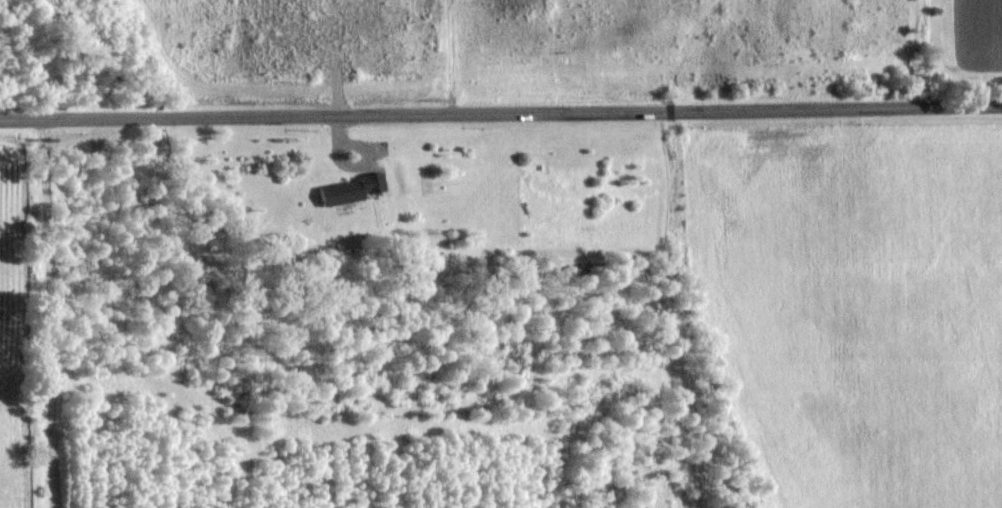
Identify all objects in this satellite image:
road: (501, 113)
building: (353, 188)

